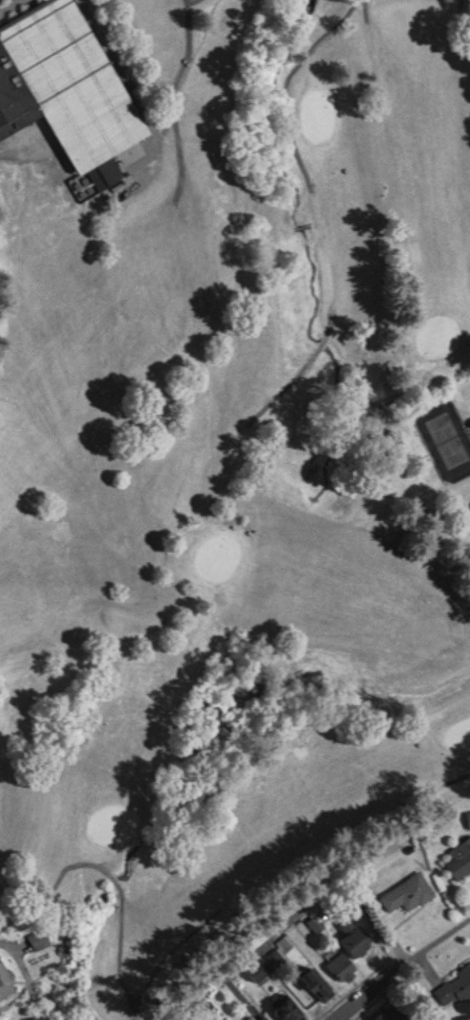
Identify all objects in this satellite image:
building: (14, 98)
park: (448, 439)
park: (219, 468)
building: (469, 815)
building: (460, 858)
building: (410, 892)
road: (437, 934)
building: (357, 938)
road: (241, 960)
building: (345, 966)
building: (261, 968)
building: (7, 980)
building: (321, 982)
building: (455, 986)
road: (367, 988)
building: (293, 1008)
building: (395, 1012)
building: (267, 1018)
building: (0, 1019)

